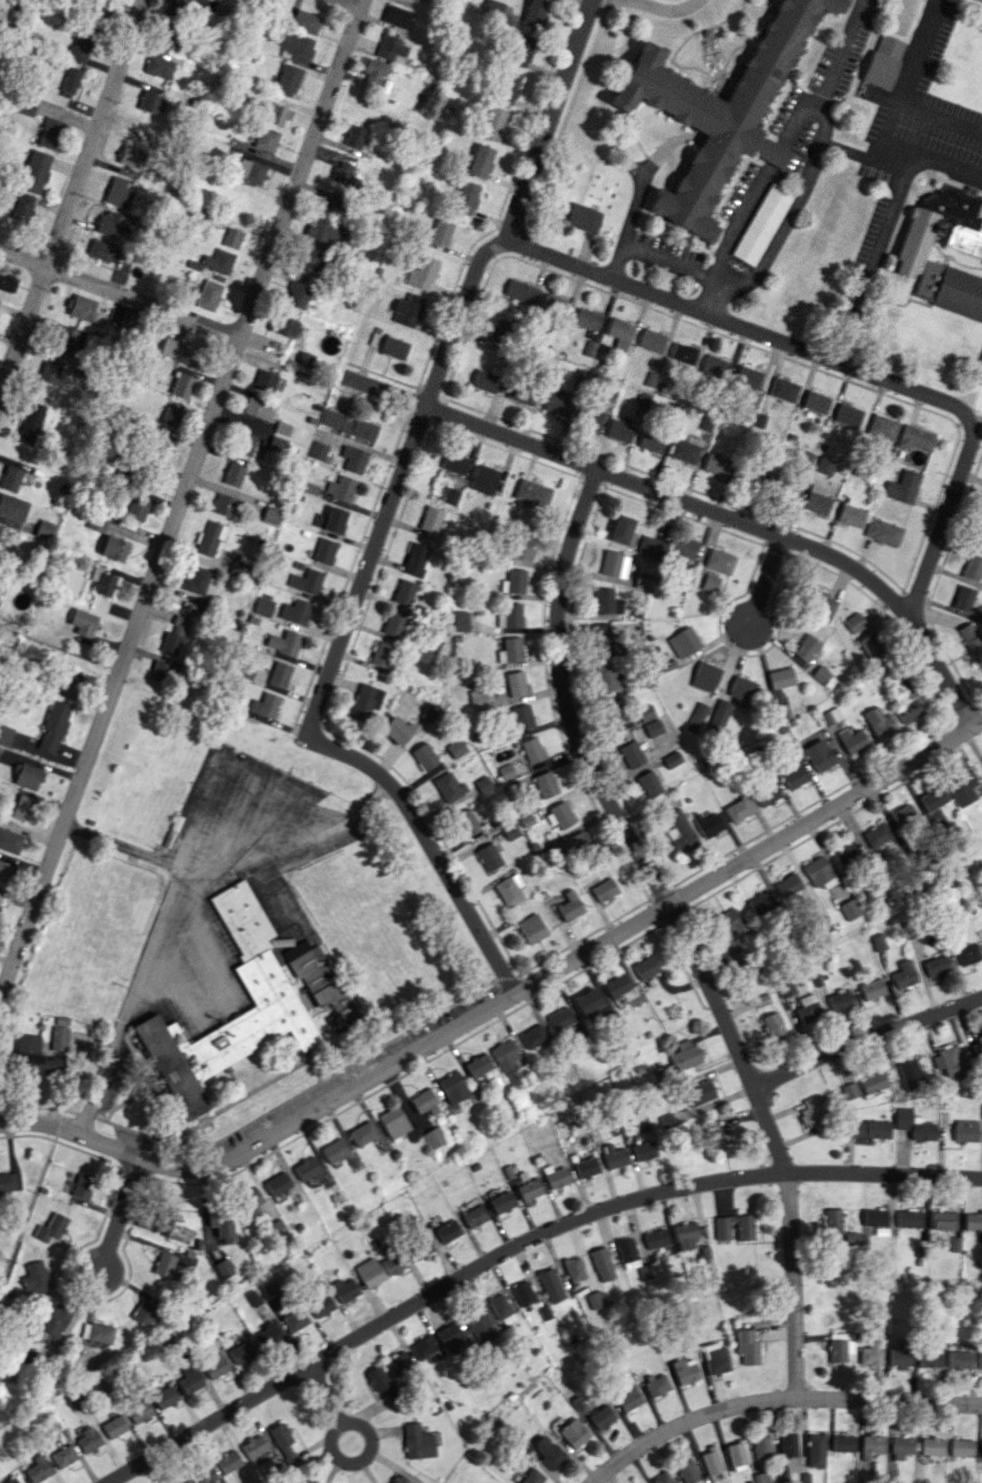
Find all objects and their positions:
road: (604, 0)
road: (351, 3)
building: (191, 7)
building: (493, 7)
road: (659, 7)
building: (535, 13)
building: (396, 16)
building: (305, 21)
building: (165, 36)
building: (81, 43)
building: (296, 47)
building: (389, 47)
building: (521, 50)
building: (883, 61)
building: (157, 64)
building: (373, 70)
building: (287, 80)
building: (69, 82)
road: (904, 86)
building: (508, 87)
building: (149, 102)
building: (25, 107)
building: (719, 112)
building: (274, 114)
road: (546, 121)
building: (493, 124)
building: (49, 133)
building: (353, 136)
building: (265, 139)
road: (777, 148)
building: (131, 156)
building: (480, 160)
building: (35, 171)
building: (249, 171)
building: (341, 172)
road: (639, 184)
building: (119, 192)
road: (71, 197)
building: (465, 197)
building: (329, 204)
road: (892, 205)
building: (22, 210)
building: (198, 215)
building: (582, 217)
building: (111, 224)
building: (762, 224)
building: (325, 230)
building: (440, 232)
building: (231, 237)
building: (965, 239)
building: (913, 245)
building: (102, 250)
road: (651, 260)
building: (218, 261)
building: (308, 262)
building: (421, 273)
building: (7, 282)
building: (520, 291)
road: (118, 294)
building: (202, 294)
building: (297, 294)
building: (555, 305)
building: (85, 310)
building: (406, 310)
building: (586, 319)
building: (127, 320)
building: (286, 326)
building: (497, 330)
building: (619, 333)
building: (652, 340)
building: (69, 342)
building: (393, 347)
building: (589, 348)
building: (179, 351)
building: (683, 353)
building: (304, 359)
road: (844, 364)
building: (715, 367)
building: (50, 370)
building: (748, 376)
building: (650, 379)
building: (265, 380)
building: (483, 381)
road: (971, 381)
building: (182, 385)
building: (784, 389)
building: (519, 394)
building: (643, 399)
building: (816, 402)
building: (556, 404)
building: (257, 409)
building: (848, 414)
building: (171, 417)
building: (592, 419)
building: (760, 420)
building: (29, 422)
building: (348, 425)
building: (882, 427)
building: (282, 428)
building: (619, 430)
building: (915, 438)
building: (652, 441)
building: (247, 444)
building: (277, 444)
building: (161, 448)
building: (318, 450)
building: (684, 451)
building: (354, 458)
building: (801, 458)
building: (453, 462)
building: (716, 464)
building: (824, 465)
building: (233, 474)
building: (10, 478)
building: (482, 479)
building: (310, 487)
building: (902, 487)
building: (341, 488)
building: (531, 493)
road: (181, 496)
building: (449, 496)
building: (816, 500)
road: (695, 504)
building: (223, 505)
building: (13, 507)
building: (136, 508)
building: (850, 512)
building: (981, 513)
building: (271, 514)
building: (331, 519)
building: (430, 522)
building: (620, 528)
building: (45, 529)
building: (881, 531)
building: (1, 532)
building: (209, 538)
building: (979, 538)
building: (522, 547)
building: (649, 547)
building: (683, 547)
building: (114, 548)
building: (324, 550)
building: (416, 560)
building: (719, 560)
building: (614, 564)
building: (240, 565)
building: (972, 567)
building: (643, 577)
building: (196, 580)
building: (102, 581)
building: (306, 581)
building: (513, 581)
building: (710, 583)
road: (762, 586)
building: (403, 591)
building: (962, 598)
building: (605, 601)
building: (819, 601)
building: (263, 607)
building: (295, 611)
building: (510, 615)
building: (979, 616)
building: (459, 620)
building: (83, 622)
building: (853, 622)
building: (393, 623)
building: (173, 636)
building: (600, 636)
road: (340, 638)
building: (971, 640)
building: (284, 642)
building: (682, 642)
building: (871, 645)
building: (806, 648)
road: (59, 650)
building: (509, 650)
building: (381, 654)
building: (244, 671)
building: (162, 672)
building: (279, 674)
building: (821, 674)
building: (605, 676)
building: (704, 676)
building: (780, 677)
building: (515, 683)
building: (63, 687)
building: (741, 691)
building: (477, 698)
building: (364, 702)
building: (264, 704)
building: (909, 707)
building: (781, 711)
building: (615, 712)
building: (645, 713)
building: (719, 714)
building: (830, 716)
building: (522, 717)
building: (696, 717)
building: (879, 722)
building: (53, 726)
building: (652, 728)
building: (397, 732)
building: (5, 734)
building: (852, 740)
building: (455, 748)
building: (531, 750)
building: (631, 754)
building: (818, 755)
building: (423, 756)
building: (672, 759)
building: (505, 770)
building: (27, 776)
building: (794, 777)
building: (648, 783)
building: (545, 784)
building: (448, 787)
building: (961, 788)
building: (767, 794)
building: (932, 798)
building: (22, 807)
building: (738, 809)
building: (559, 815)
building: (903, 815)
building: (528, 819)
building: (465, 823)
building: (707, 824)
building: (509, 831)
building: (680, 831)
building: (877, 835)
building: (10, 840)
building: (577, 841)
road: (132, 848)
building: (844, 852)
building: (488, 857)
building: (4, 870)
building: (819, 872)
building: (788, 885)
building: (508, 889)
building: (603, 890)
building: (0, 897)
building: (760, 902)
building: (569, 906)
building: (849, 909)
building: (728, 921)
road: (675, 925)
building: (531, 928)
building: (878, 942)
building: (968, 954)
building: (936, 965)
building: (644, 966)
building: (904, 974)
road: (223, 982)
building: (320, 982)
building: (616, 985)
building: (267, 987)
building: (784, 987)
building: (872, 988)
road: (504, 1000)
building: (587, 1000)
building: (840, 1001)
building: (807, 1008)
building: (559, 1018)
building: (772, 1025)
building: (532, 1036)
building: (58, 1037)
road: (864, 1039)
building: (28, 1042)
building: (977, 1046)
building: (505, 1055)
building: (684, 1057)
building: (949, 1059)
building: (41, 1062)
building: (477, 1064)
building: (910, 1074)
building: (873, 1081)
building: (452, 1087)
building: (850, 1090)
building: (700, 1093)
building: (424, 1102)
building: (815, 1112)
building: (981, 1115)
building: (393, 1121)
building: (666, 1121)
building: (914, 1125)
building: (869, 1129)
building: (361, 1133)
building: (966, 1133)
building: (717, 1135)
building: (434, 1137)
building: (333, 1150)
building: (644, 1150)
building: (614, 1156)
building: (586, 1167)
building: (306, 1168)
building: (556, 1176)
building: (7, 1182)
building: (277, 1183)
building: (82, 1186)
building: (530, 1189)
building: (250, 1201)
building: (502, 1202)
road: (122, 1213)
building: (474, 1216)
building: (875, 1217)
building: (909, 1218)
building: (943, 1220)
building: (973, 1220)
building: (160, 1221)
building: (832, 1221)
building: (221, 1223)
building: (723, 1227)
building: (744, 1227)
building: (51, 1229)
building: (448, 1231)
building: (685, 1234)
building: (851, 1237)
building: (655, 1238)
building: (955, 1244)
building: (421, 1250)
building: (626, 1250)
building: (919, 1250)
road: (519, 1251)
building: (704, 1252)
building: (393, 1263)
building: (163, 1264)
building: (602, 1264)
building: (223, 1268)
building: (574, 1268)
building: (644, 1271)
building: (369, 1272)
building: (35, 1278)
building: (550, 1285)
building: (344, 1289)
building: (273, 1293)
building: (523, 1293)
building: (252, 1298)
building: (595, 1299)
building: (320, 1305)
building: (501, 1309)
building: (143, 1311)
building: (545, 1313)
building: (54, 1320)
building: (295, 1320)
building: (480, 1326)
building: (97, 1332)
building: (267, 1336)
building: (450, 1336)
building: (840, 1346)
building: (746, 1347)
building: (424, 1349)
building: (241, 1352)
building: (871, 1353)
building: (714, 1357)
building: (900, 1357)
building: (929, 1357)
building: (958, 1359)
building: (979, 1360)
building: (397, 1362)
building: (214, 1364)
building: (685, 1370)
building: (189, 1379)
building: (380, 1381)
building: (656, 1384)
road: (321, 1393)
building: (626, 1396)
building: (165, 1397)
road: (776, 1399)
building: (140, 1411)
building: (601, 1416)
road: (337, 1421)
building: (114, 1426)
building: (573, 1433)
building: (88, 1440)
building: (282, 1442)
building: (417, 1442)
building: (843, 1442)
building: (789, 1445)
building: (872, 1446)
building: (931, 1446)
building: (253, 1447)
building: (762, 1447)
building: (901, 1447)
building: (961, 1447)
building: (817, 1449)
building: (981, 1449)
building: (547, 1451)
building: (737, 1455)
building: (63, 1456)
building: (711, 1459)
building: (227, 1461)
building: (38, 1468)
building: (687, 1471)
building: (782, 1473)
building: (202, 1475)
building: (532, 1477)
building: (762, 1477)
building: (662, 1478)
building: (400, 1479)
building: (11, 1480)
building: (303, 1480)
building: (182, 1481)

